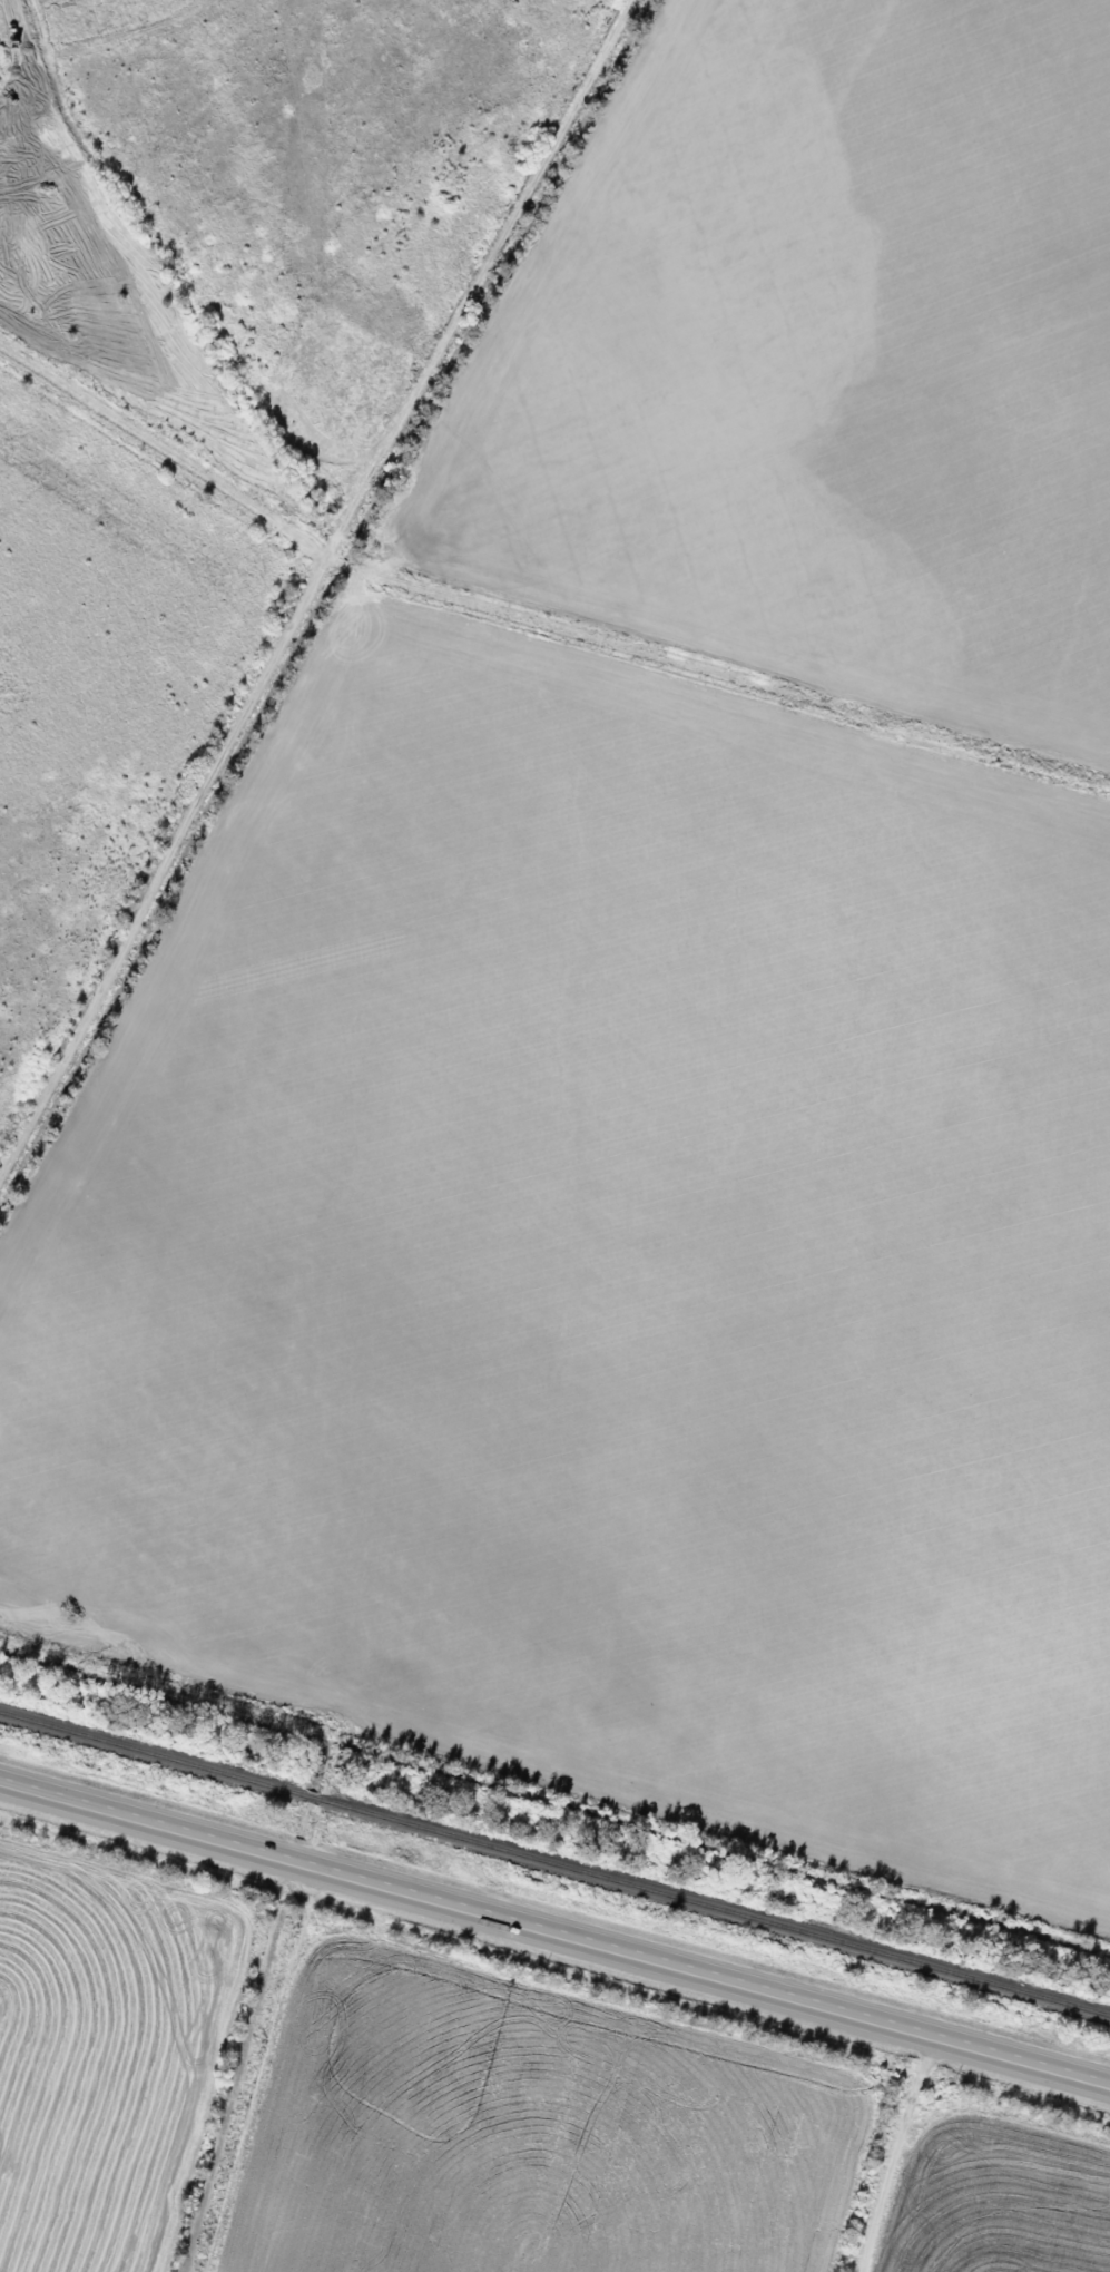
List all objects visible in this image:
road: (407, 454)
road: (165, 868)
railway: (148, 1755)
railway: (302, 1798)
railway: (708, 1909)
road: (554, 1931)
road: (888, 2152)

